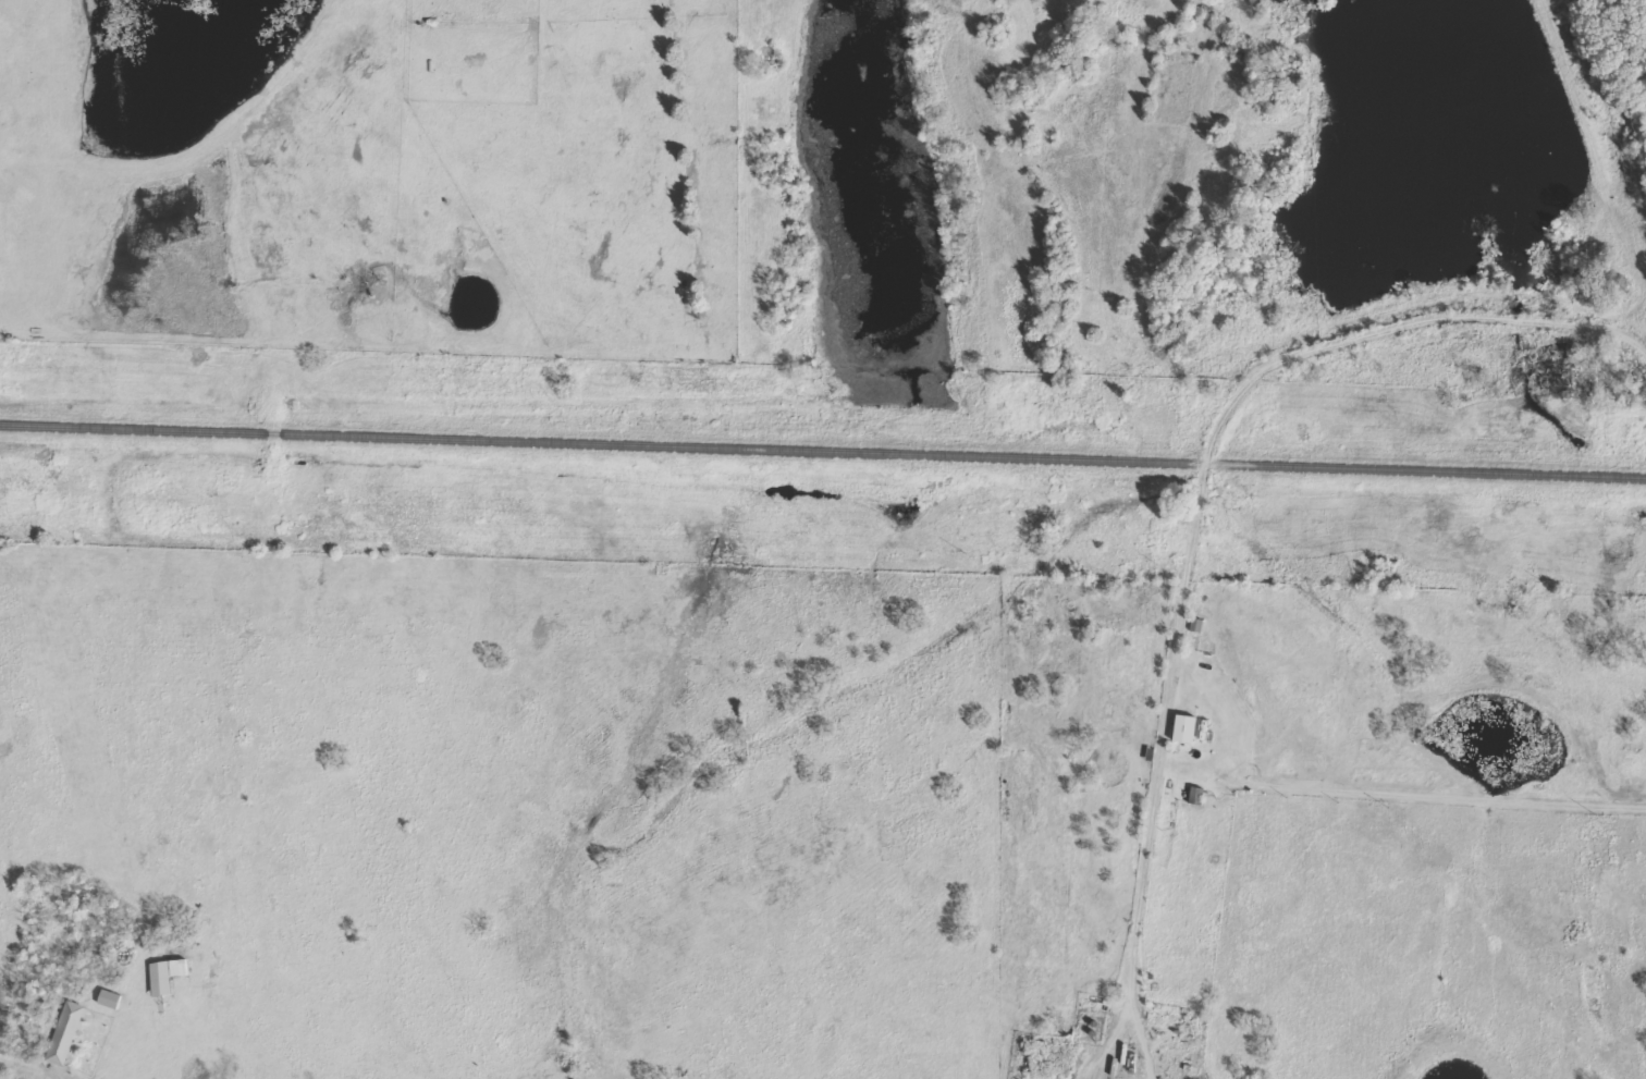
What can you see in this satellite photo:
railway: (823, 450)
building: (1182, 731)
building: (1195, 798)
building: (168, 978)
building: (114, 1001)
building: (69, 1035)

